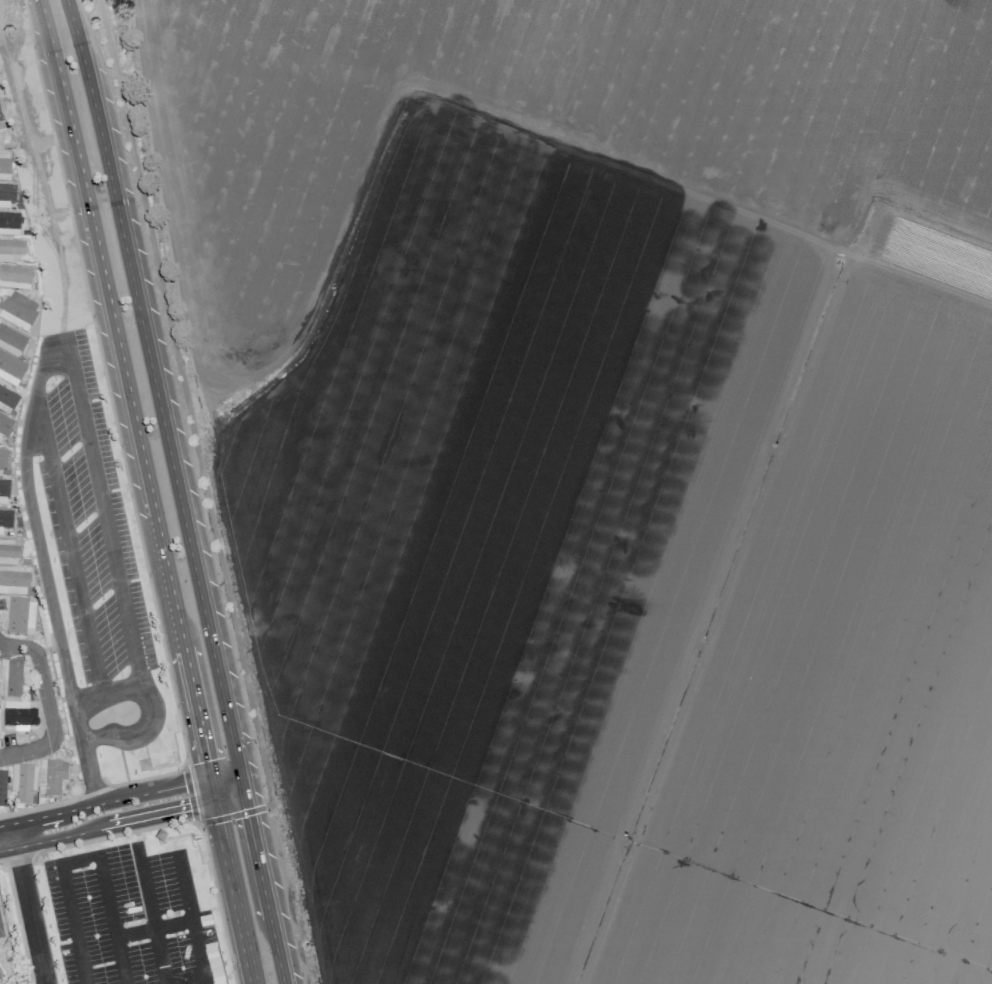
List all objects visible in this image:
road: (974, 6)
building: (0, 117)
building: (5, 166)
building: (7, 194)
road: (709, 206)
building: (9, 223)
building: (12, 251)
building: (15, 277)
road: (921, 279)
road: (341, 289)
building: (18, 310)
building: (11, 341)
road: (51, 360)
building: (10, 369)
building: (7, 399)
road: (188, 404)
building: (5, 425)
road: (658, 450)
building: (2, 457)
crop: (611, 470)
road: (125, 476)
road: (150, 491)
road: (179, 491)
building: (4, 492)
road: (221, 492)
building: (5, 519)
building: (9, 552)
road: (72, 557)
building: (14, 581)
building: (20, 616)
building: (10, 677)
road: (108, 693)
road: (46, 703)
building: (21, 713)
building: (144, 764)
building: (51, 776)
traffic signals: (211, 777)
building: (23, 782)
building: (2, 788)
road: (190, 792)
traffic signals: (245, 793)
road: (119, 799)
traffic signals: (216, 800)
road: (229, 814)
road: (123, 824)
road: (197, 824)
road: (630, 841)
road: (19, 855)
road: (84, 859)
road: (0, 861)
road: (28, 903)
road: (151, 915)
parking lot: (131, 918)
road: (193, 919)
road: (155, 929)

